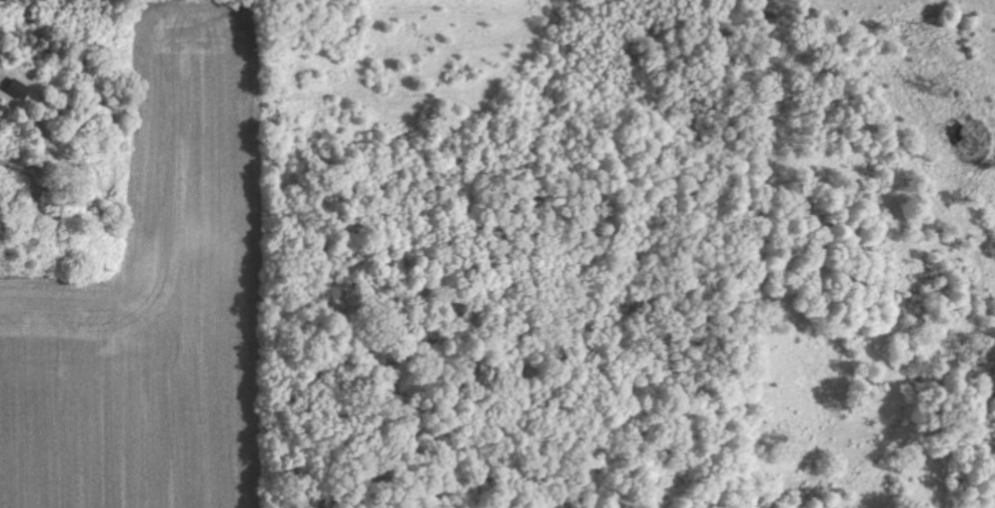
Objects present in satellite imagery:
building: (17, 90)

